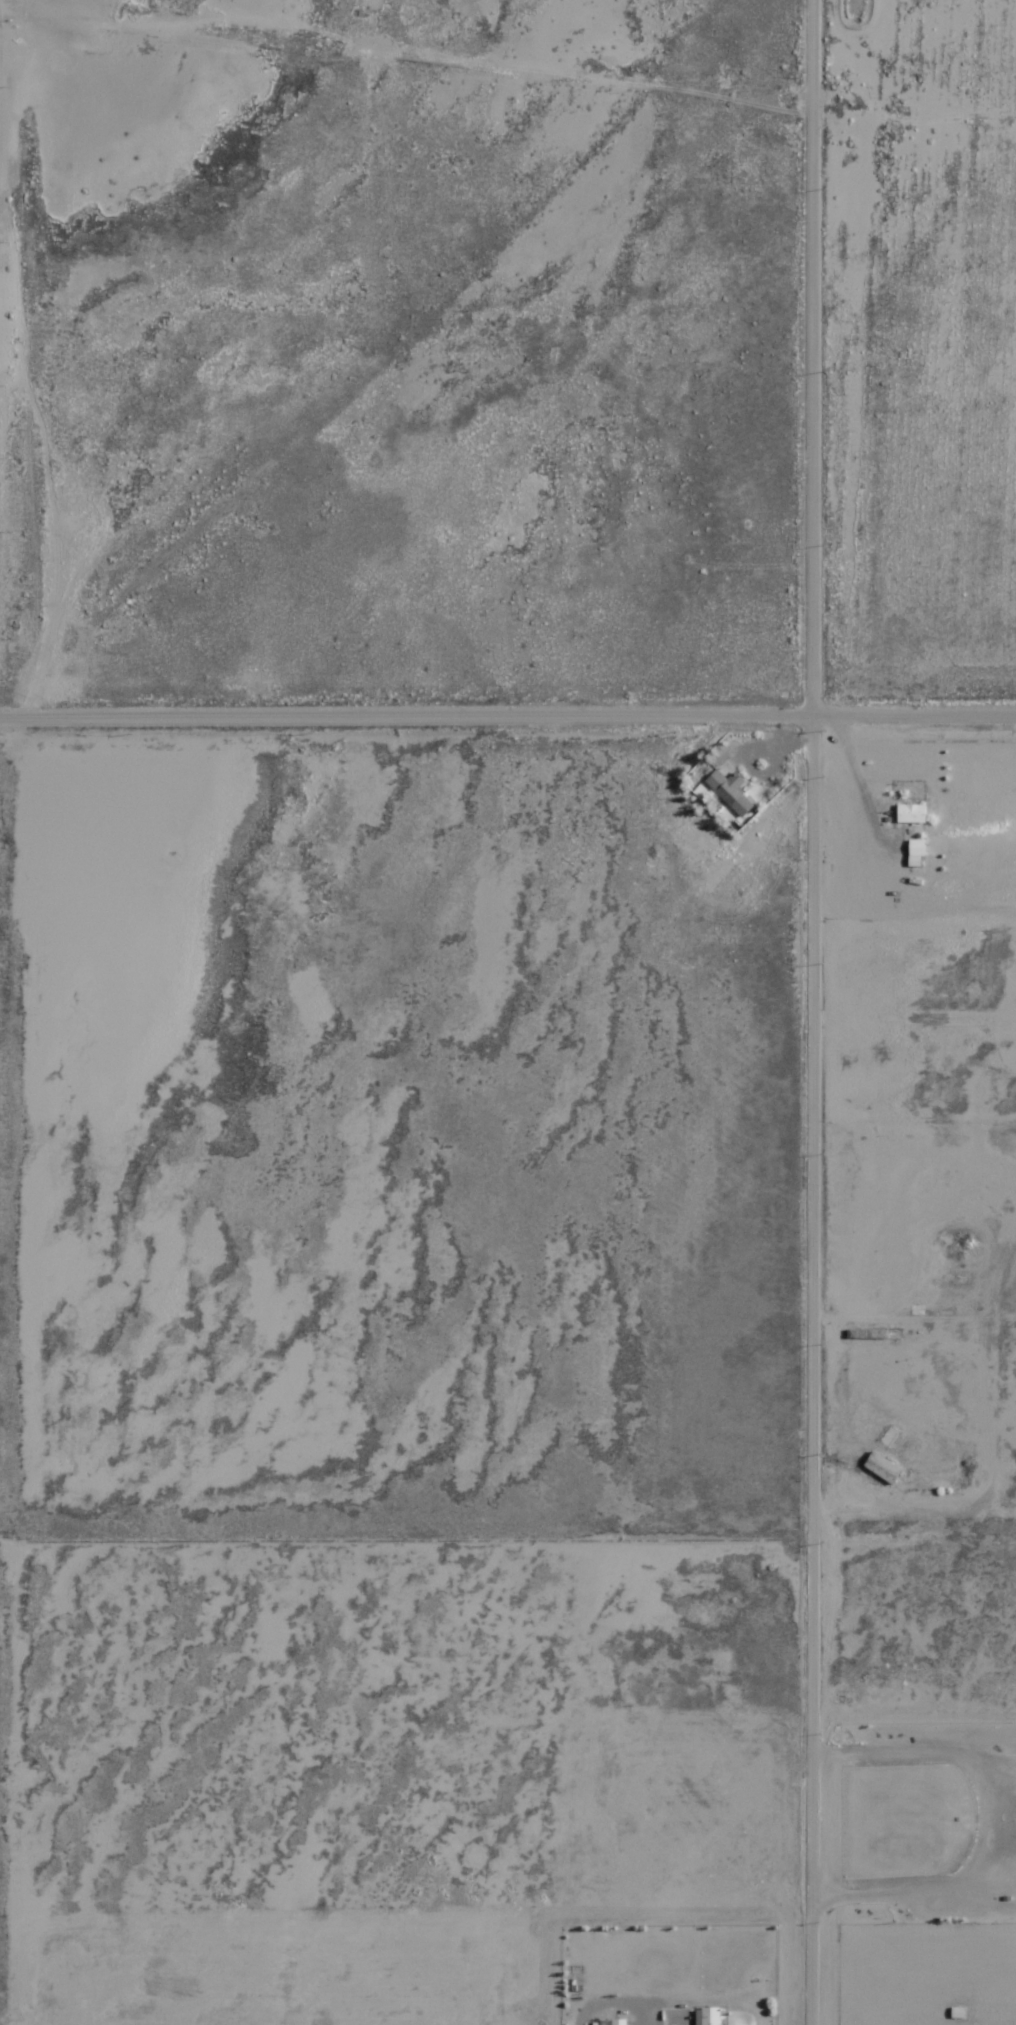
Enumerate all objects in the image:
road: (508, 700)
building: (730, 791)
building: (912, 813)
road: (786, 1012)
building: (884, 1468)
road: (122, 1590)
building: (612, 2022)

